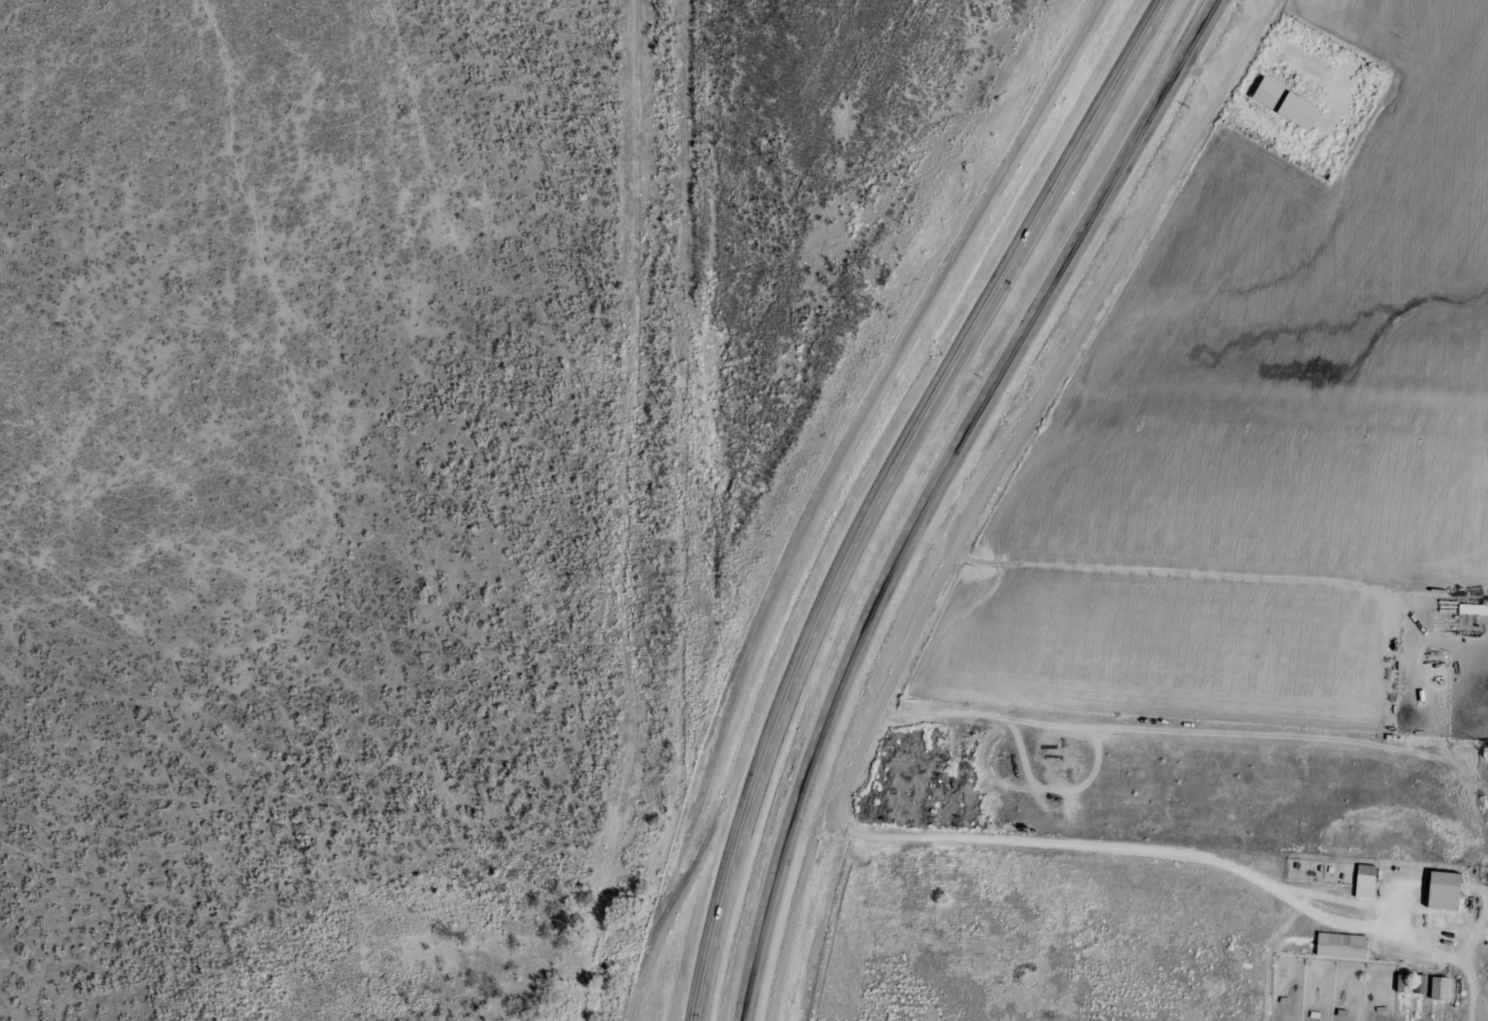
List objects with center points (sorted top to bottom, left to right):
road: (1146, 363)
road: (893, 491)
road: (944, 492)
road: (609, 513)
building: (1366, 881)
building: (1447, 890)
building: (1343, 945)
building: (1413, 984)
building: (1441, 988)

